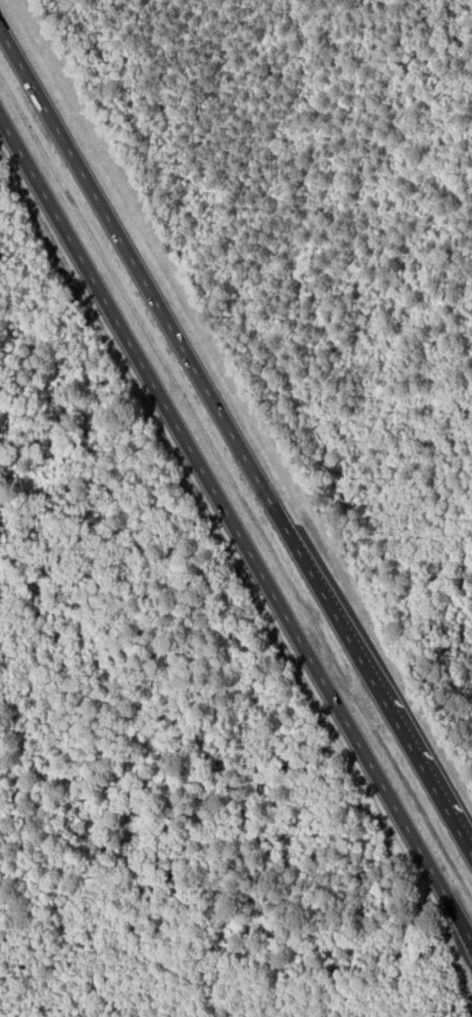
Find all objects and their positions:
road: (236, 439)
road: (235, 524)

